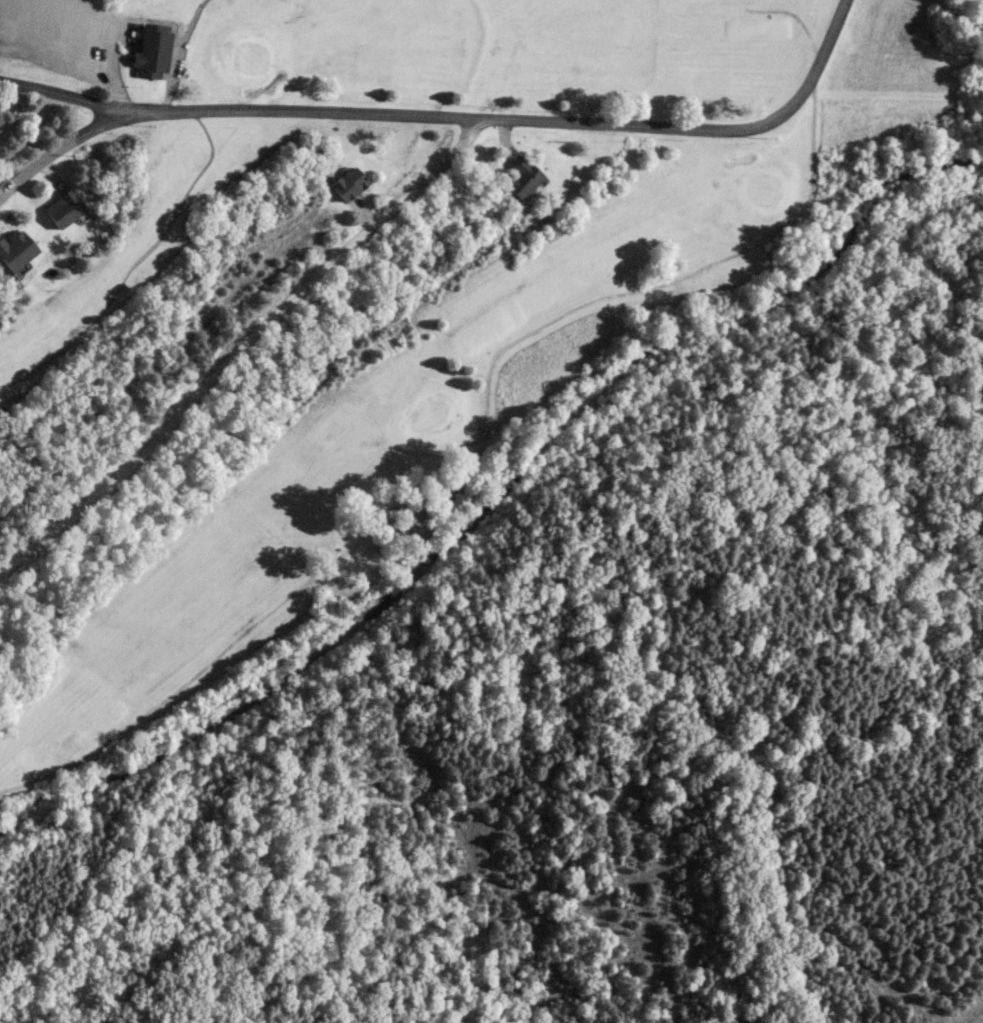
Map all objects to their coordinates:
building: (149, 50)
road: (113, 71)
road: (172, 78)
road: (53, 92)
road: (511, 120)
road: (53, 153)
building: (520, 177)
building: (346, 182)
building: (60, 208)
building: (13, 248)
road: (242, 345)

